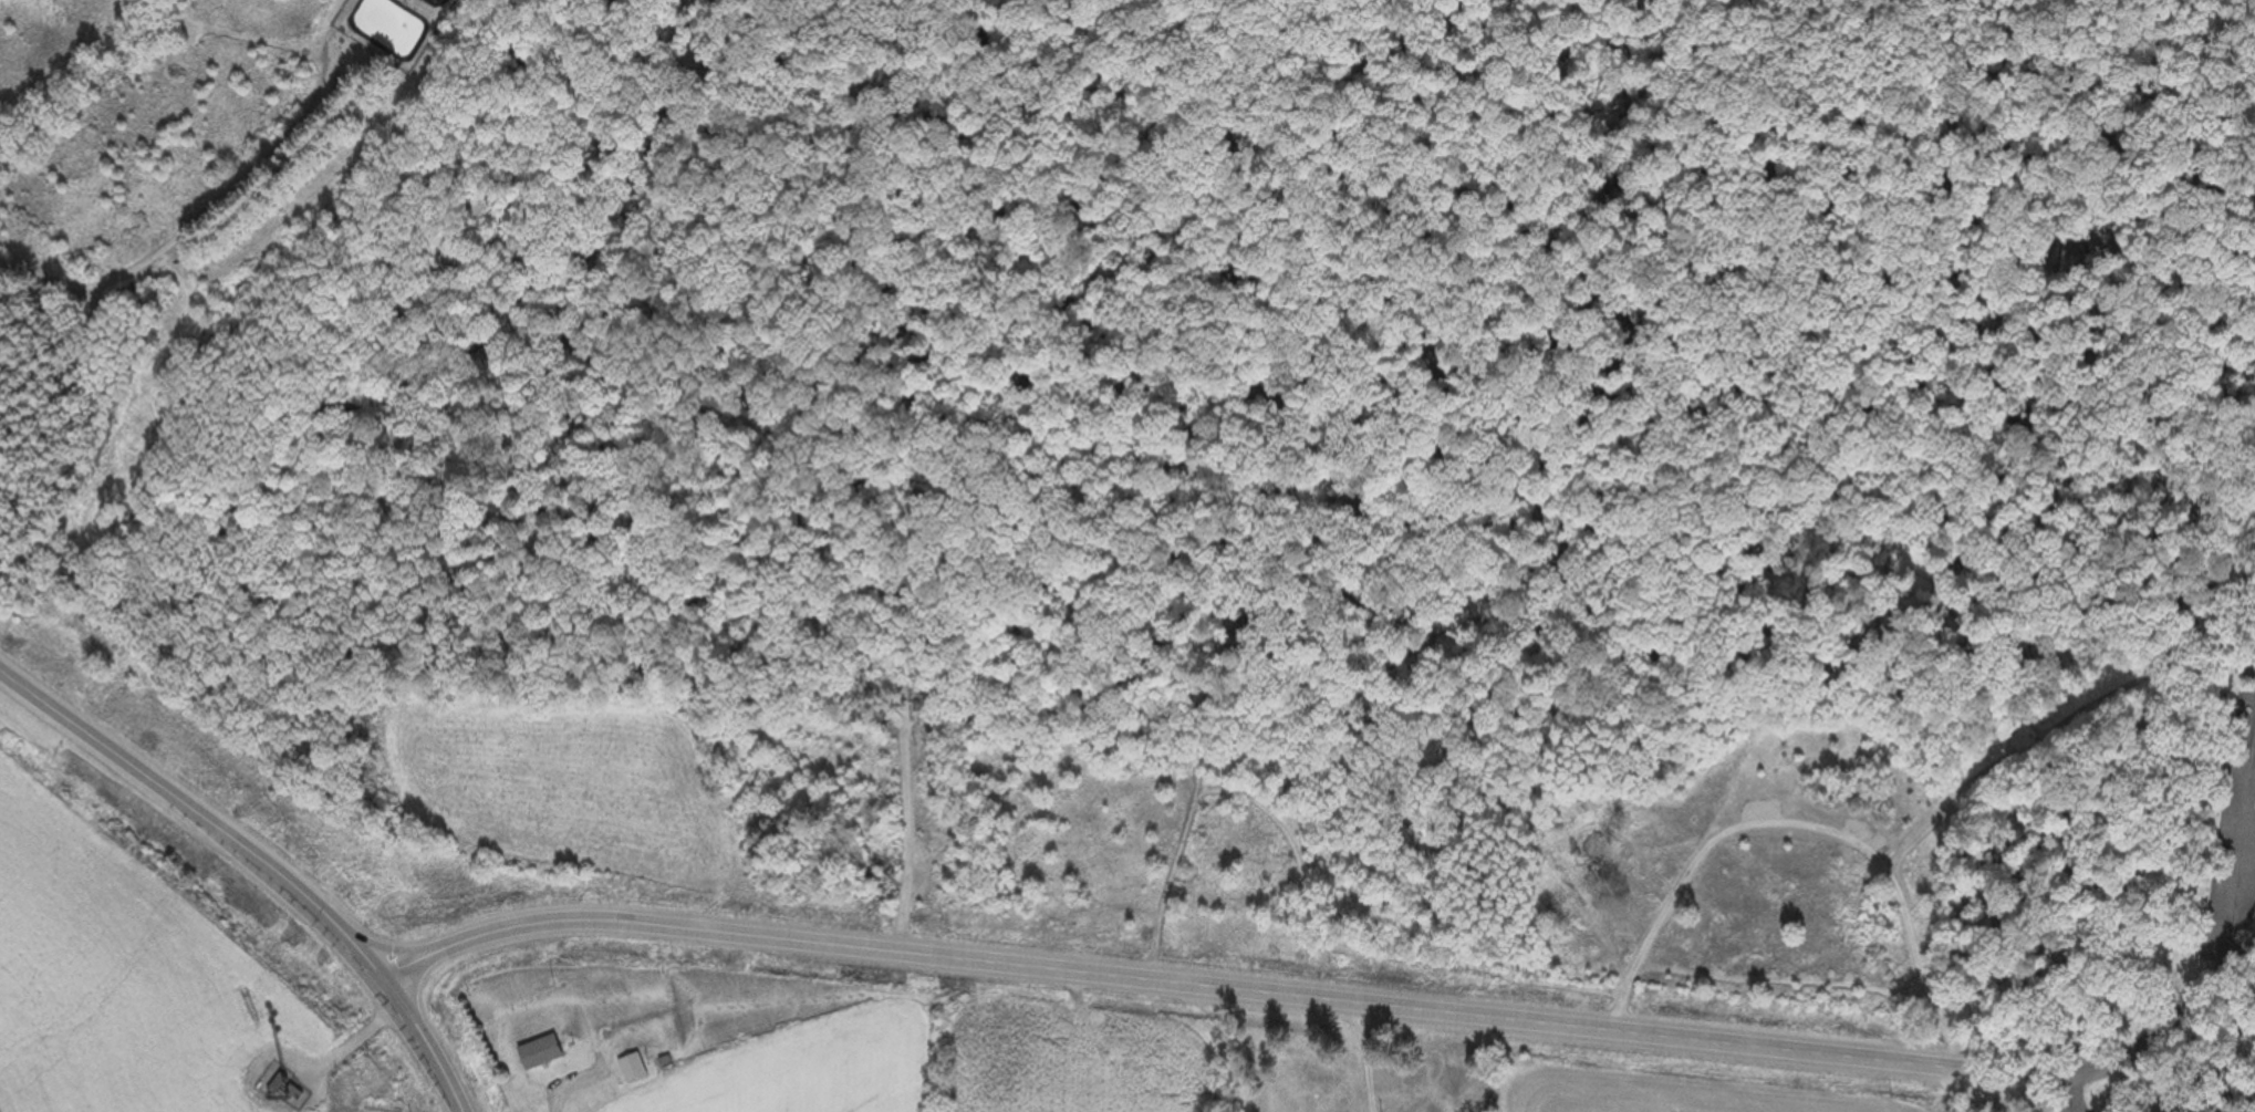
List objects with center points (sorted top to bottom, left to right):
road: (2253, 11)
road: (1342, 222)
road: (2036, 329)
road: (1048, 376)
road: (146, 526)
road: (1764, 560)
road: (1139, 659)
road: (259, 864)
road: (2238, 885)
road: (1175, 985)
road: (2220, 987)
building: (537, 1052)
road: (2071, 1063)
building: (628, 1069)
road: (2014, 1092)
road: (2183, 1101)
road: (1954, 1103)

